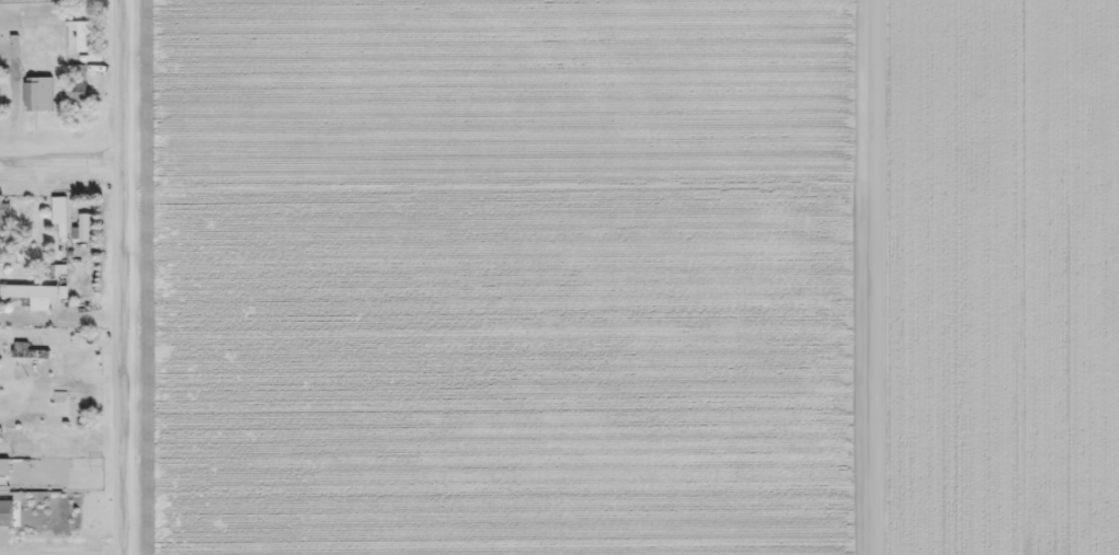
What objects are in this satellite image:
building: (76, 36)
building: (75, 82)
building: (37, 85)
road: (58, 158)
building: (3, 218)
building: (57, 219)
building: (81, 229)
road: (117, 277)
road: (876, 277)
building: (33, 294)
road: (59, 321)
building: (26, 351)
building: (21, 471)
building: (5, 513)

